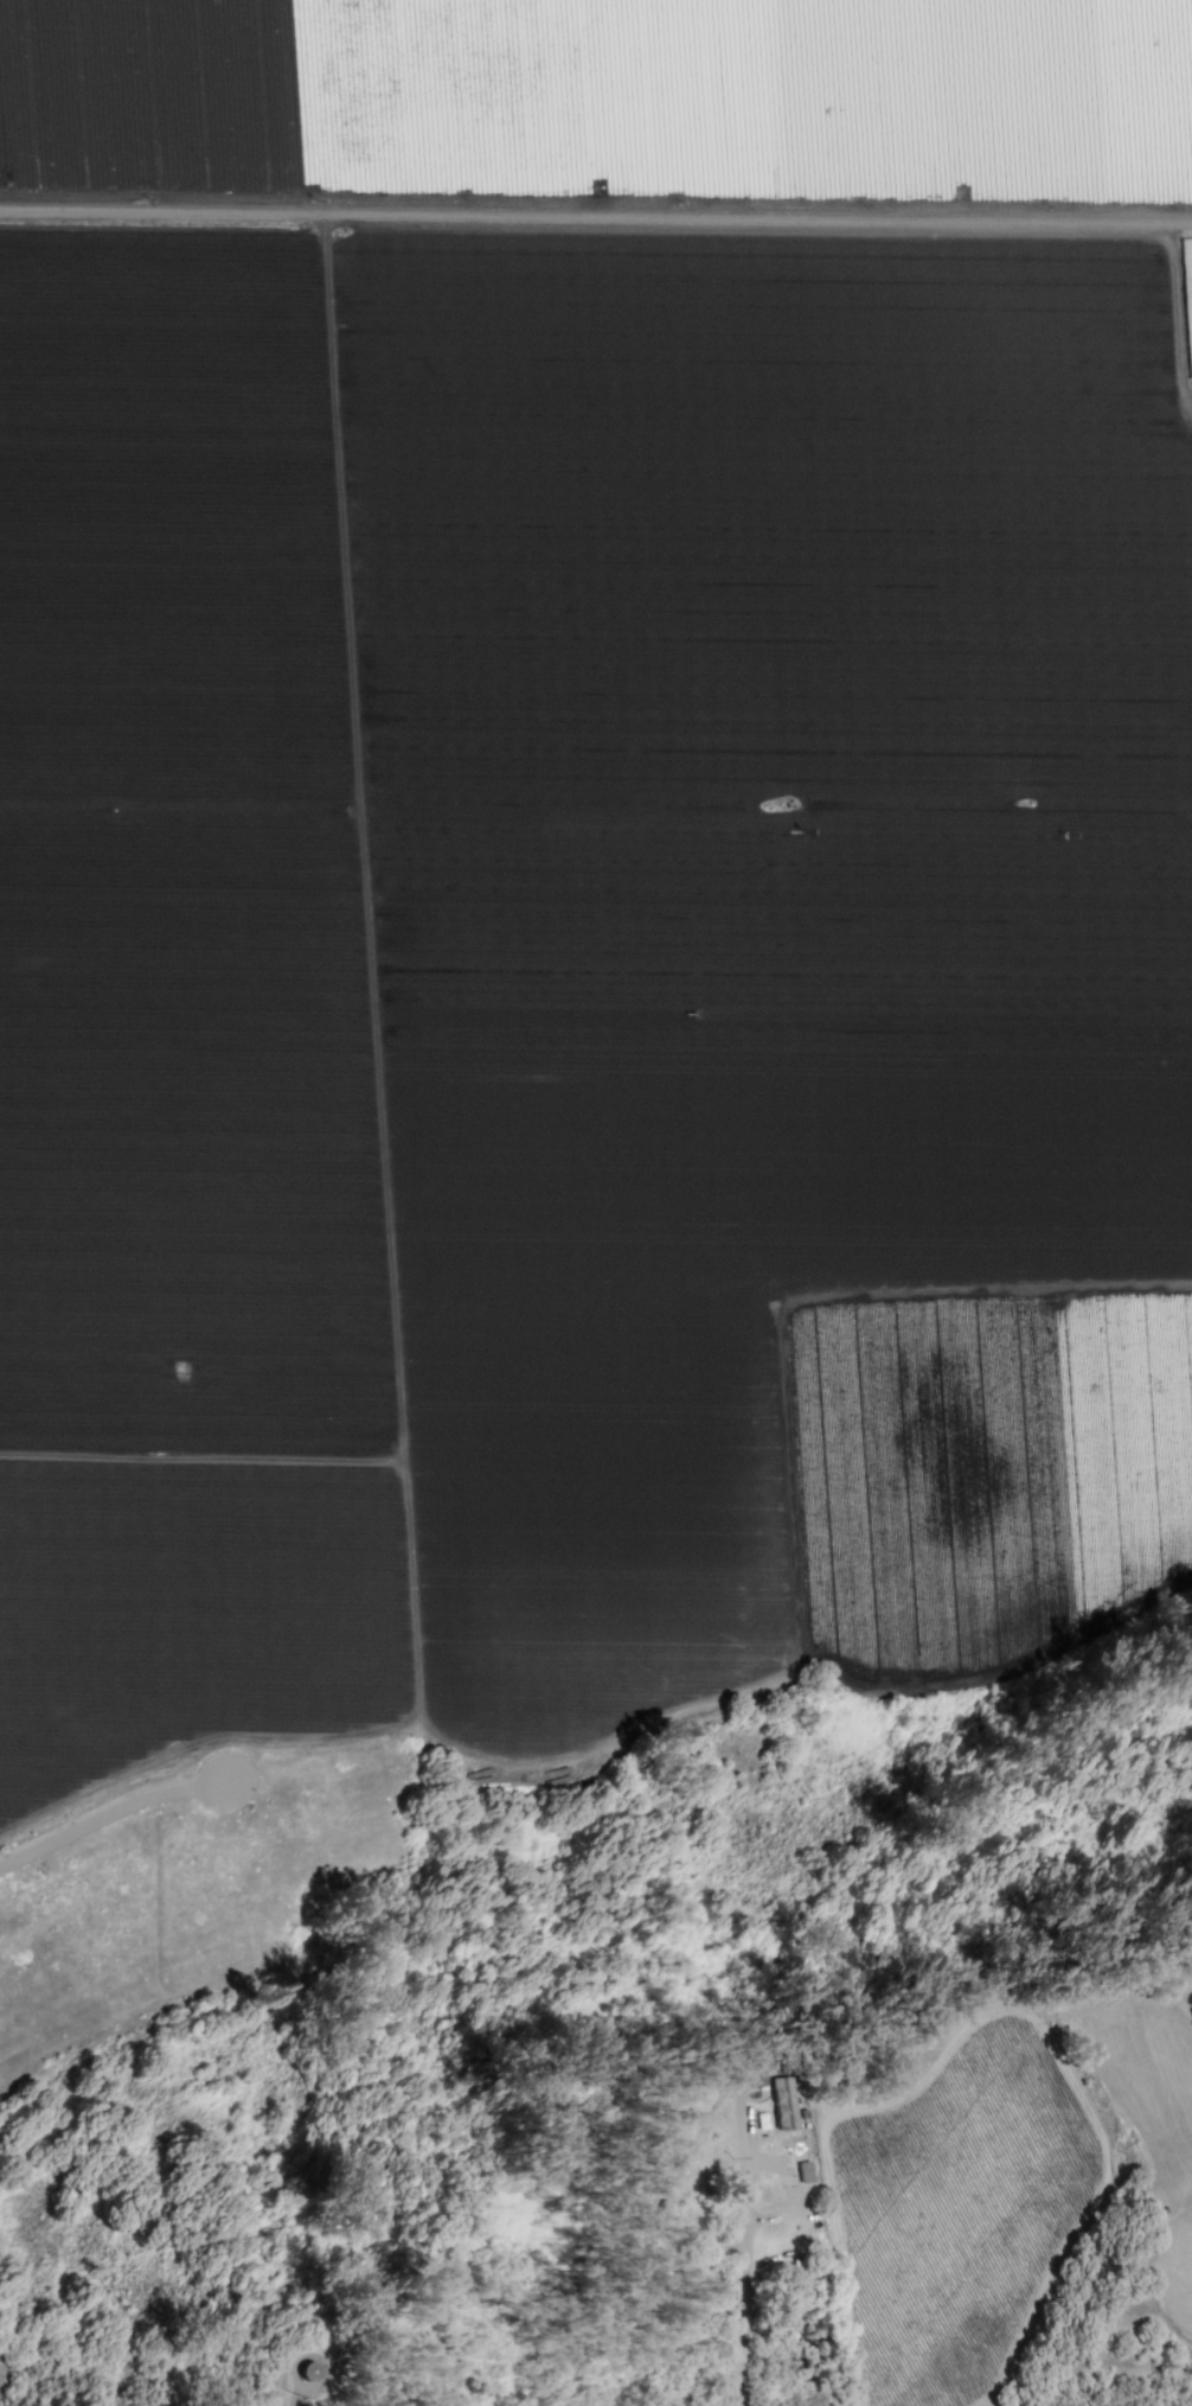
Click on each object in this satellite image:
road: (596, 219)
crop: (588, 868)
road: (115, 1819)
building: (755, 2074)
building: (783, 2102)
crop: (1001, 2180)
road: (745, 2242)
building: (307, 2370)
road: (302, 2400)

